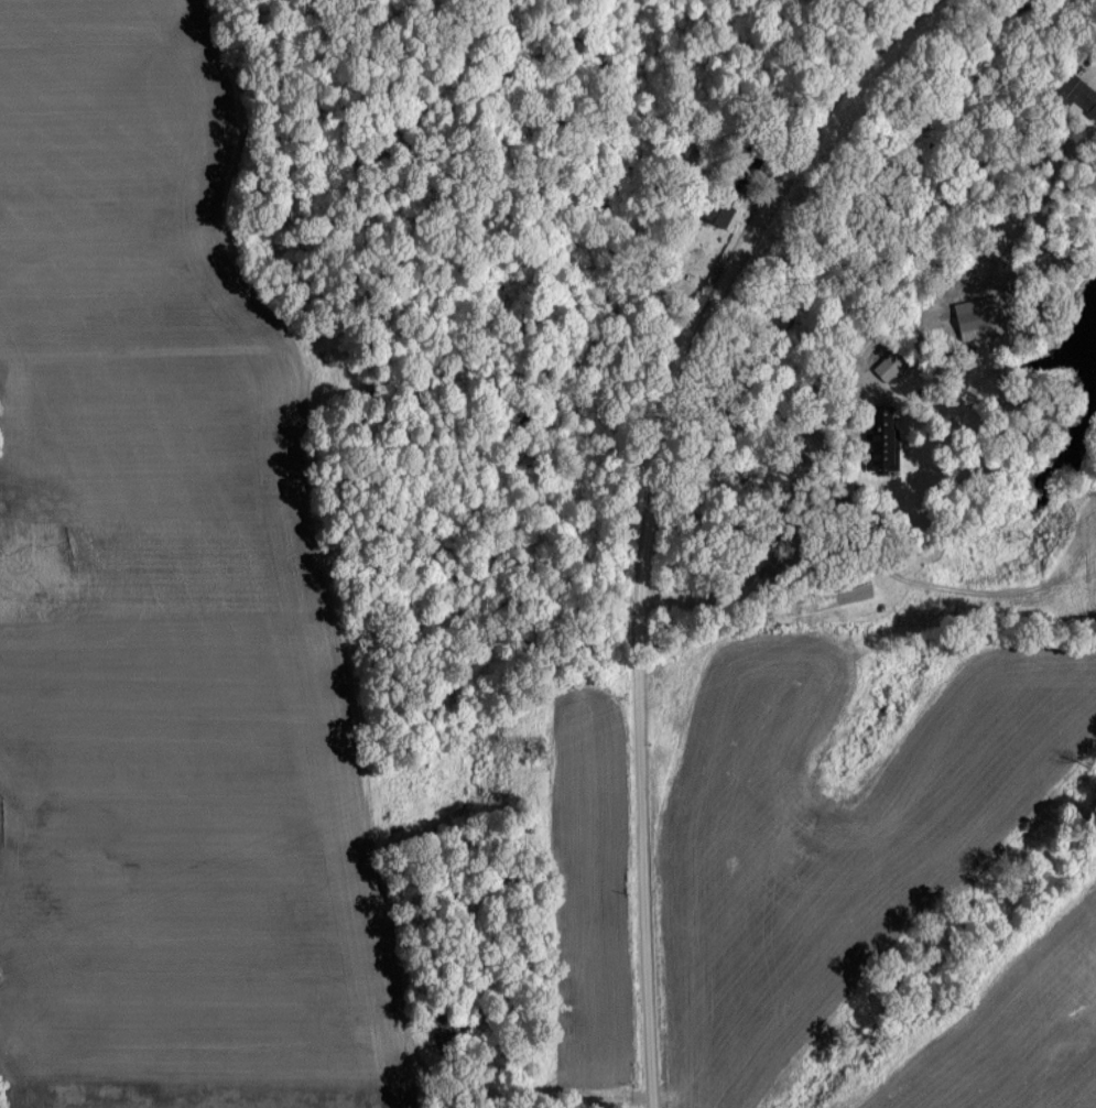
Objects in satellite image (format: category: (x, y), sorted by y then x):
road: (1094, 54)
building: (1076, 93)
building: (716, 211)
building: (888, 365)
building: (881, 438)
road: (653, 514)
road: (795, 530)

